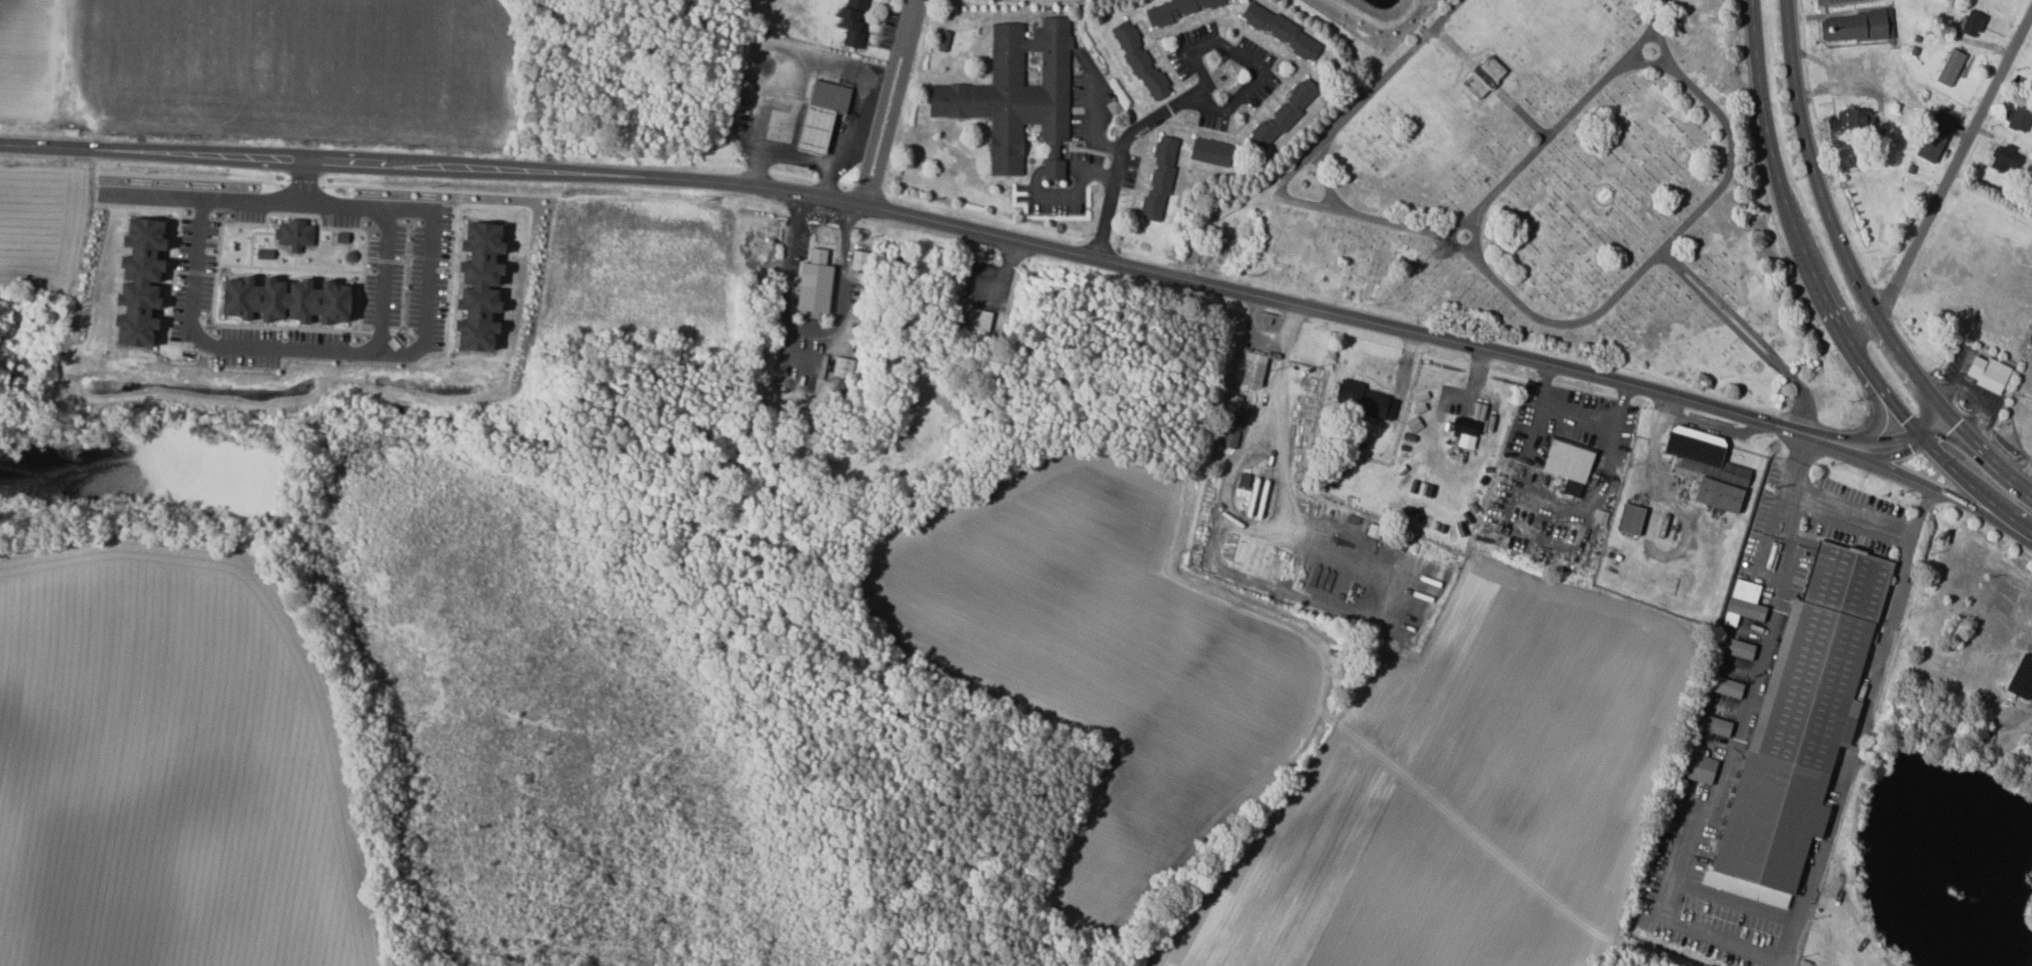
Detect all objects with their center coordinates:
building: (1177, 9)
building: (851, 23)
building: (1972, 23)
building: (1853, 26)
building: (1280, 30)
building: (943, 41)
building: (1139, 61)
building: (1950, 67)
building: (1484, 76)
building: (1017, 95)
road: (888, 103)
road: (1203, 103)
building: (820, 115)
building: (1283, 115)
building: (1854, 119)
building: (2018, 119)
road: (1093, 122)
building: (1935, 138)
building: (1210, 152)
building: (2004, 158)
road: (354, 160)
road: (1036, 174)
building: (1159, 179)
road: (1945, 182)
road: (226, 198)
park: (1543, 198)
road: (344, 204)
building: (293, 235)
building: (858, 260)
road: (1855, 271)
building: (138, 283)
building: (813, 284)
building: (477, 287)
road: (1272, 298)
building: (283, 301)
road: (1825, 301)
building: (979, 321)
road: (808, 333)
road: (400, 354)
building: (842, 367)
building: (1253, 370)
building: (1988, 374)
building: (840, 390)
road: (1881, 401)
building: (1366, 402)
road: (1575, 416)
road: (1932, 418)
traffic signals: (1906, 419)
road: (1937, 424)
traffic signals: (1965, 424)
building: (1230, 432)
building: (1464, 433)
road: (1872, 436)
traffic signals: (1917, 446)
building: (1703, 456)
road: (1877, 459)
building: (1568, 467)
building: (1717, 496)
road: (1956, 497)
road: (1841, 517)
building: (1631, 520)
road: (1793, 520)
road: (1903, 584)
building: (1744, 603)
building: (1734, 648)
building: (2021, 677)
building: (1724, 686)
building: (1712, 724)
building: (1800, 725)
building: (1698, 767)
road: (1841, 795)
road: (1715, 798)

